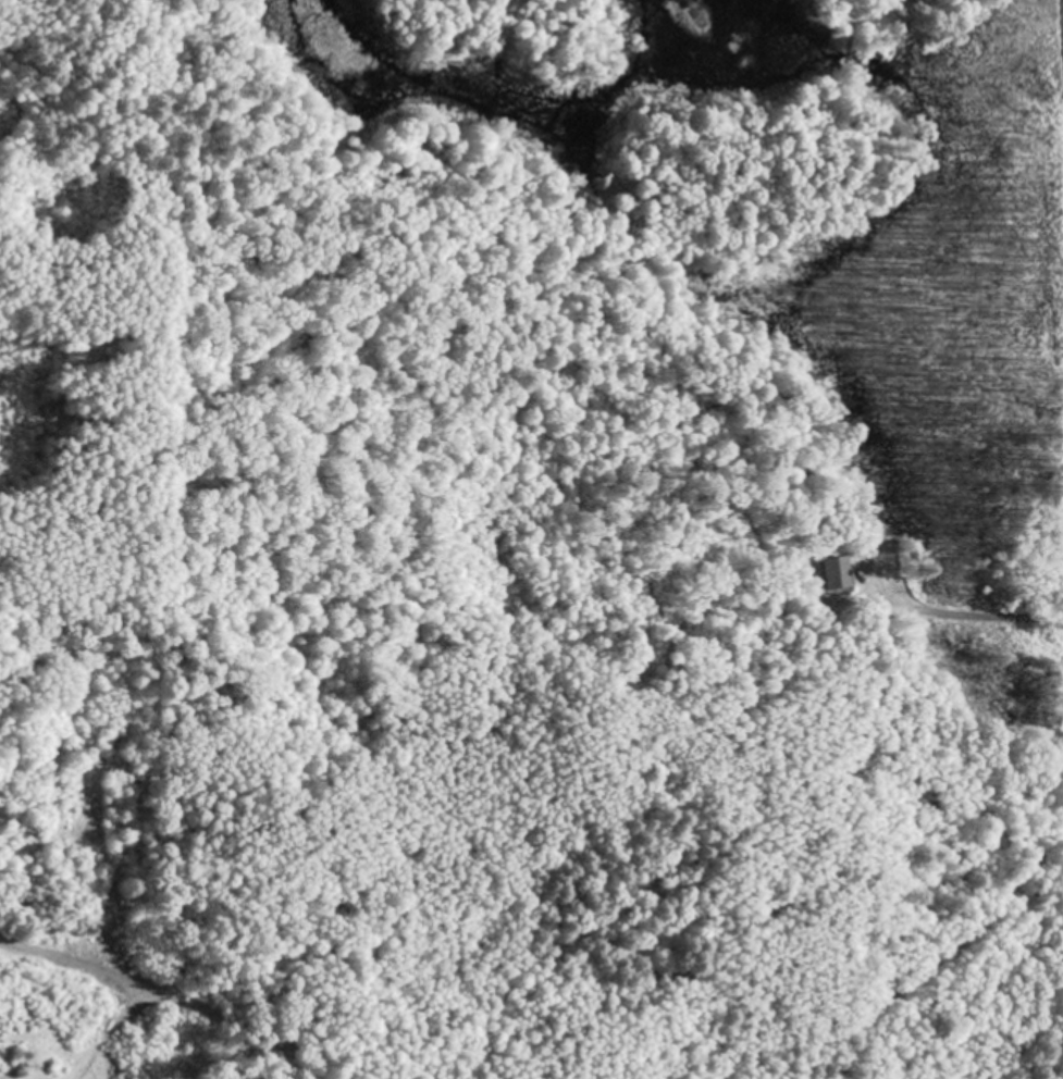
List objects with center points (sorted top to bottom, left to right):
building: (836, 574)

